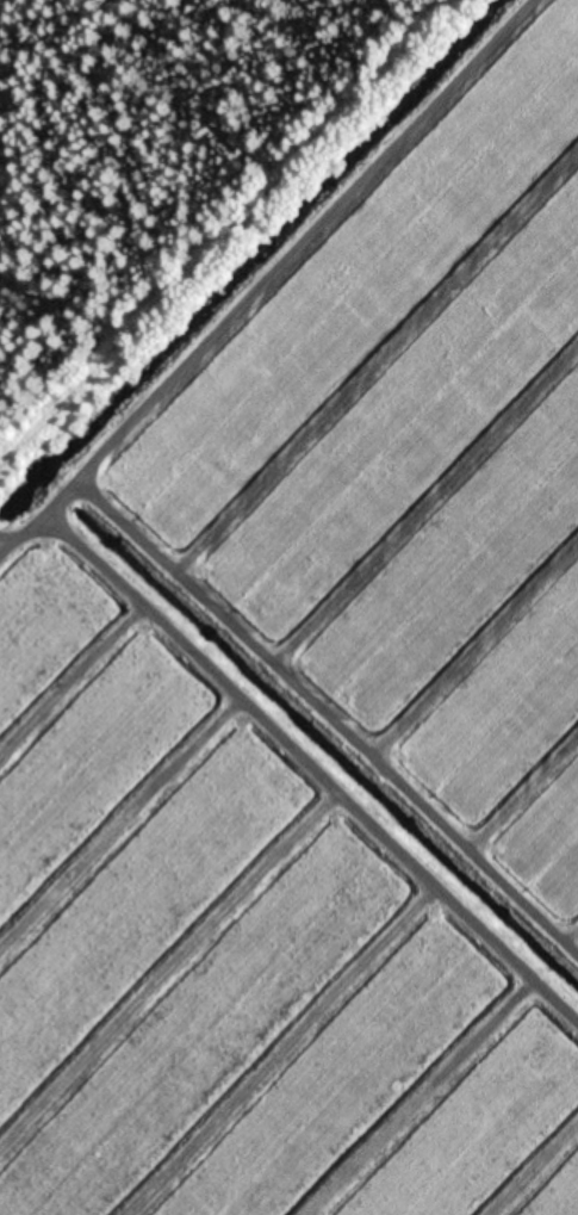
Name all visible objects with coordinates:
crop: (316, 699)

